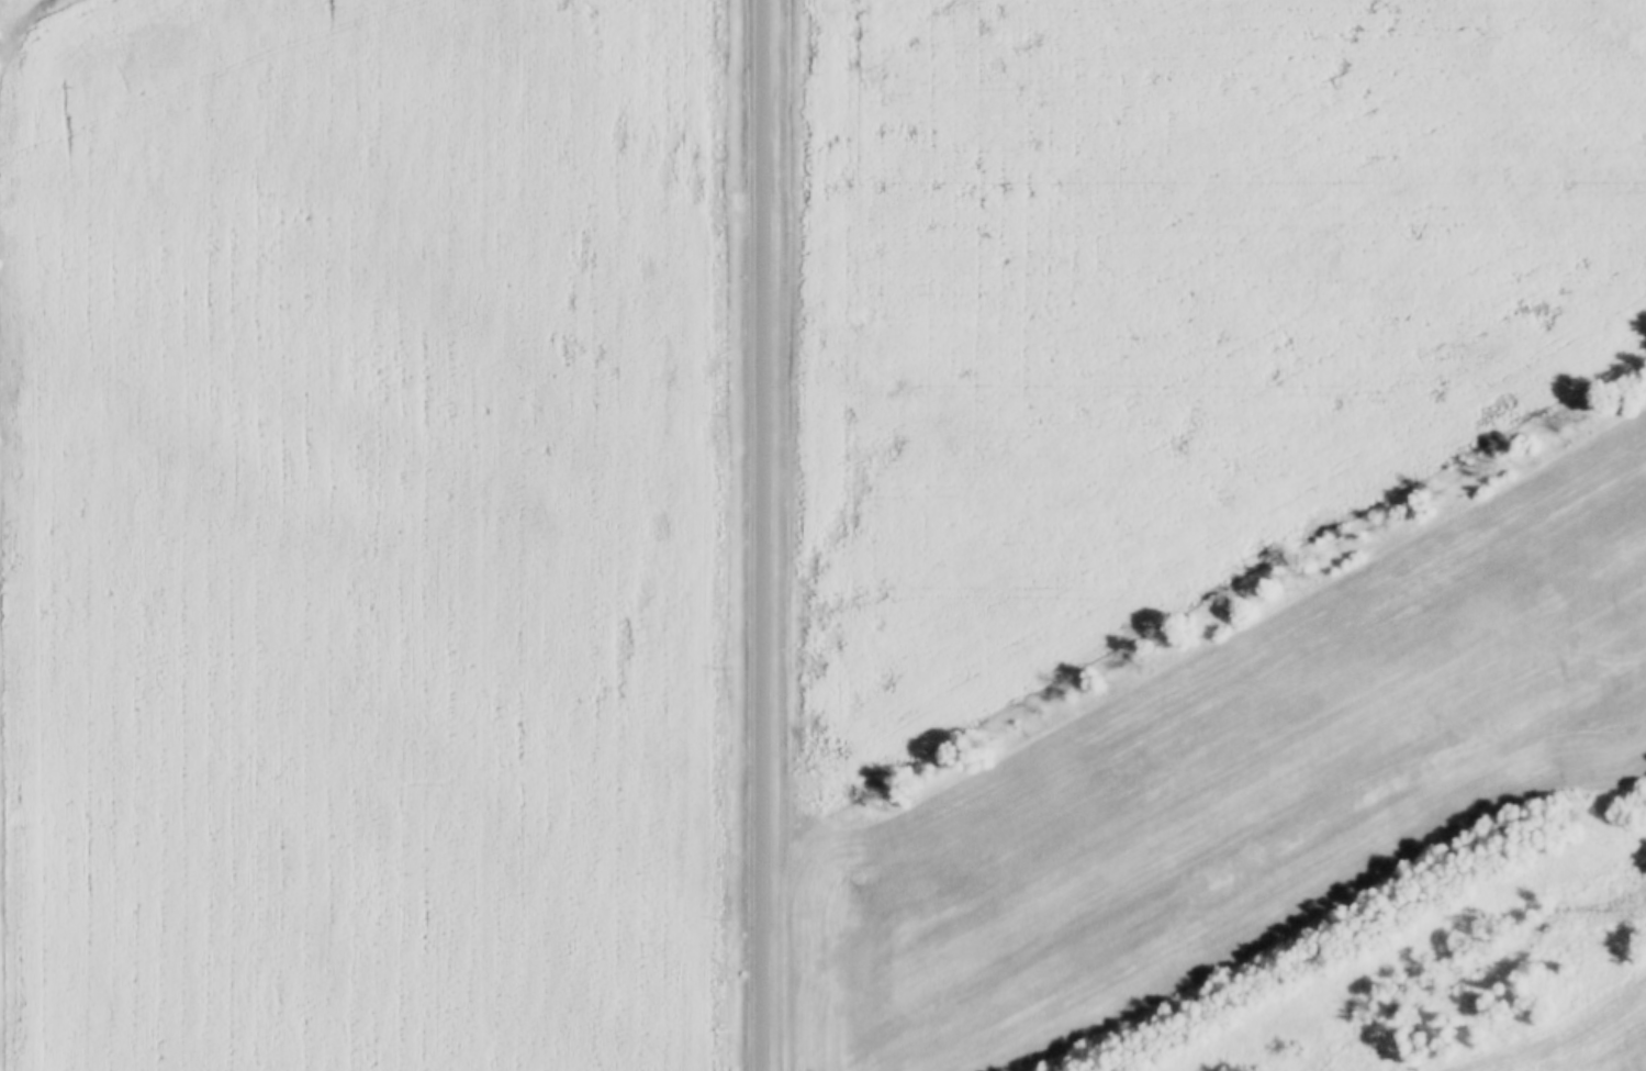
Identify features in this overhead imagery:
road: (761, 535)

